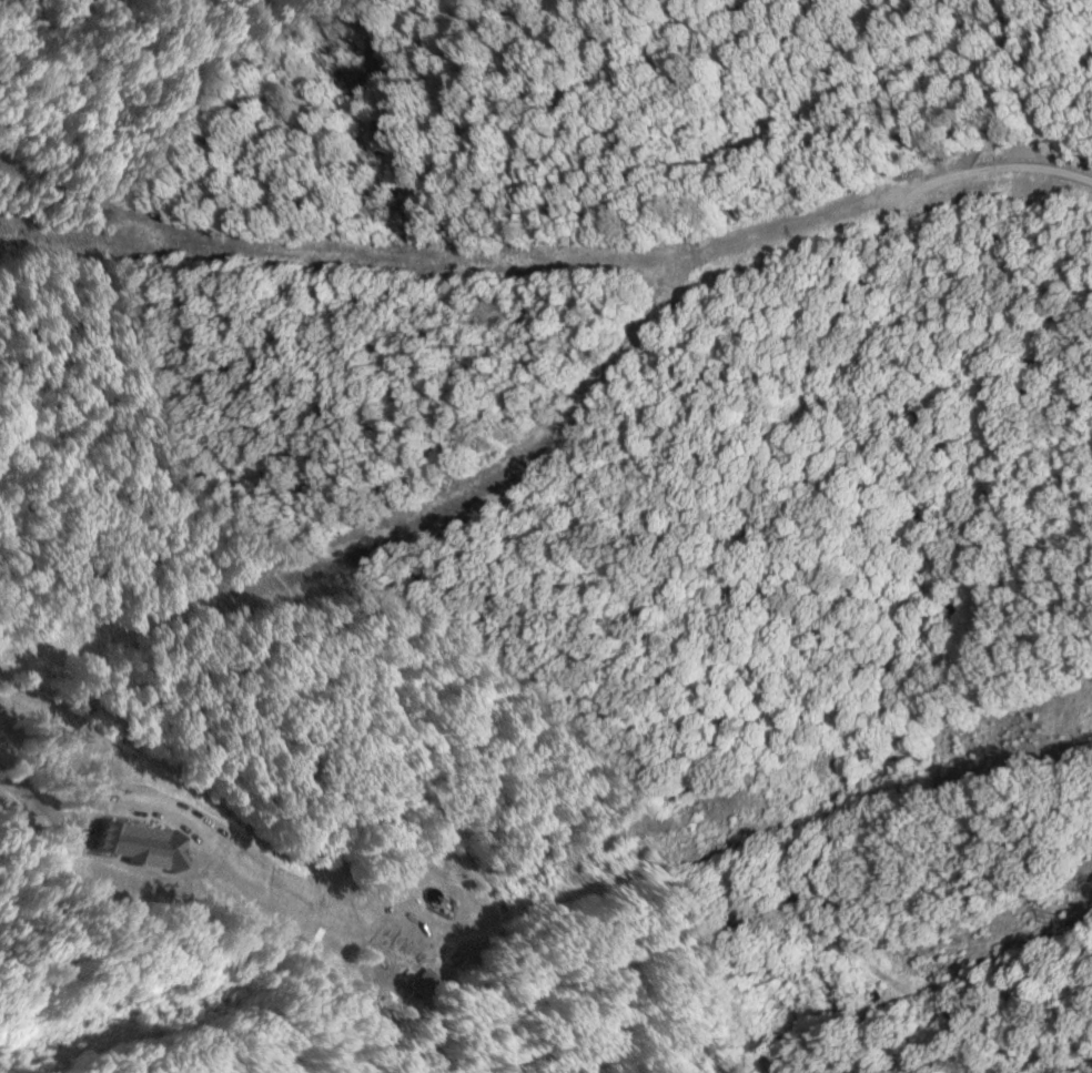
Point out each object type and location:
road: (128, 26)
road: (630, 804)
power tower: (1064, 918)
power tower: (695, 1037)

